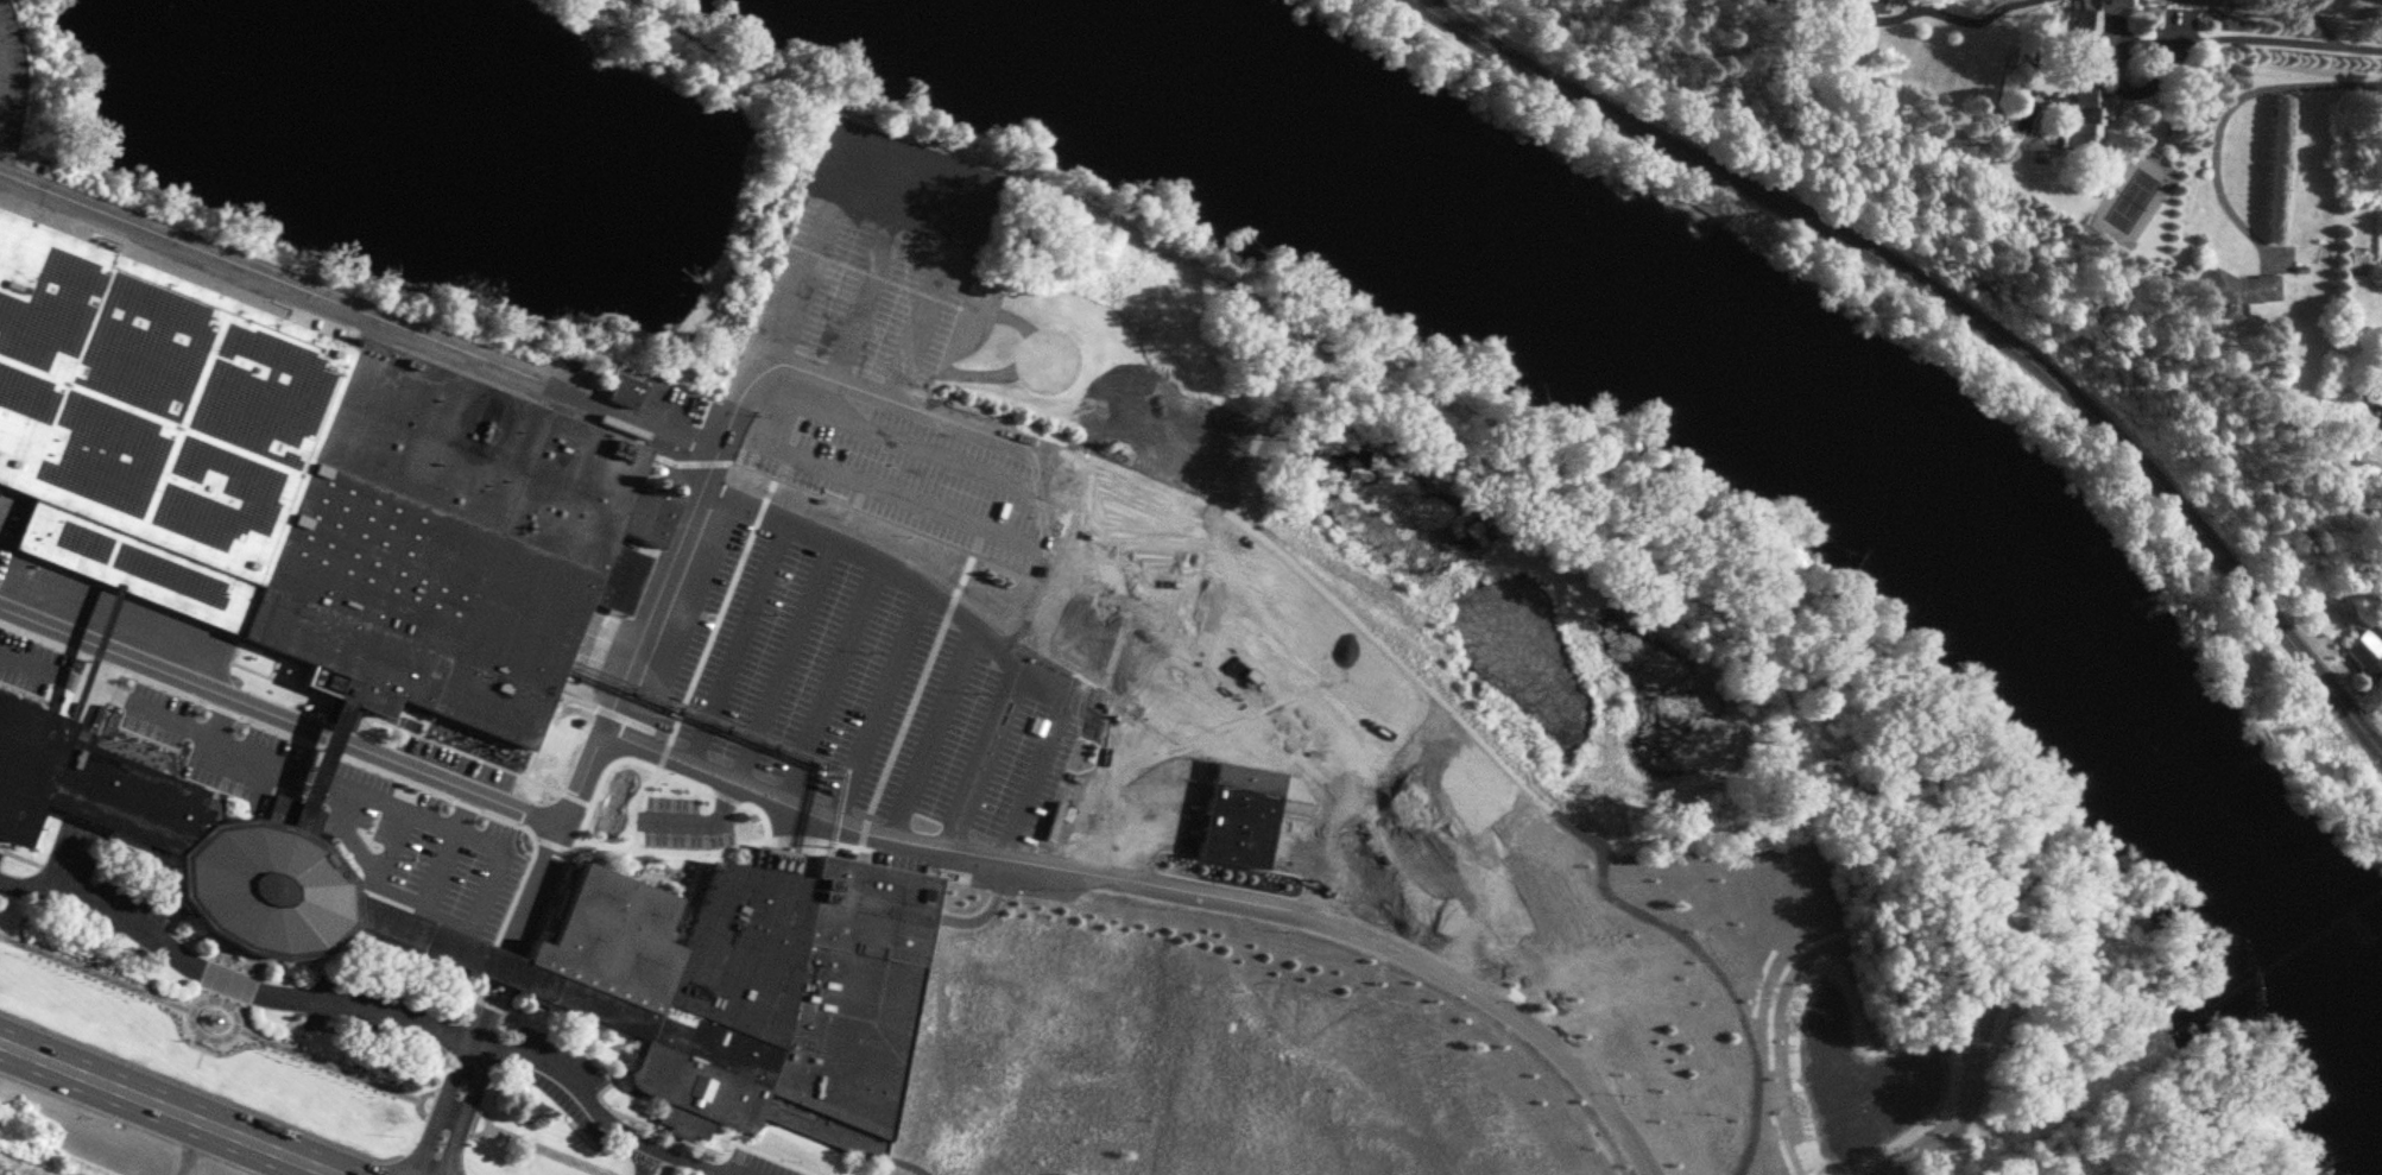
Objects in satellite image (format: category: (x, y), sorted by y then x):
building: (1868, 4)
road: (2320, 21)
road: (2249, 38)
building: (2087, 67)
river: (1207, 93)
road: (2224, 115)
road: (898, 160)
building: (2238, 288)
road: (1955, 305)
railway: (342, 316)
building: (619, 390)
building: (2376, 394)
building: (2378, 418)
road: (940, 421)
building: (301, 484)
road: (897, 492)
river: (1973, 517)
road: (897, 575)
road: (1285, 628)
road: (1231, 644)
building: (2368, 651)
road: (1023, 658)
road: (159, 669)
road: (328, 732)
road: (450, 779)
building: (1237, 811)
road: (1170, 886)
road: (511, 935)
building: (557, 937)
road: (519, 939)
road: (497, 965)
road: (227, 978)
road: (451, 1078)
road: (479, 1081)
road: (225, 1099)
road: (169, 1108)
road: (599, 1111)
road: (128, 1123)
road: (2287, 1157)

